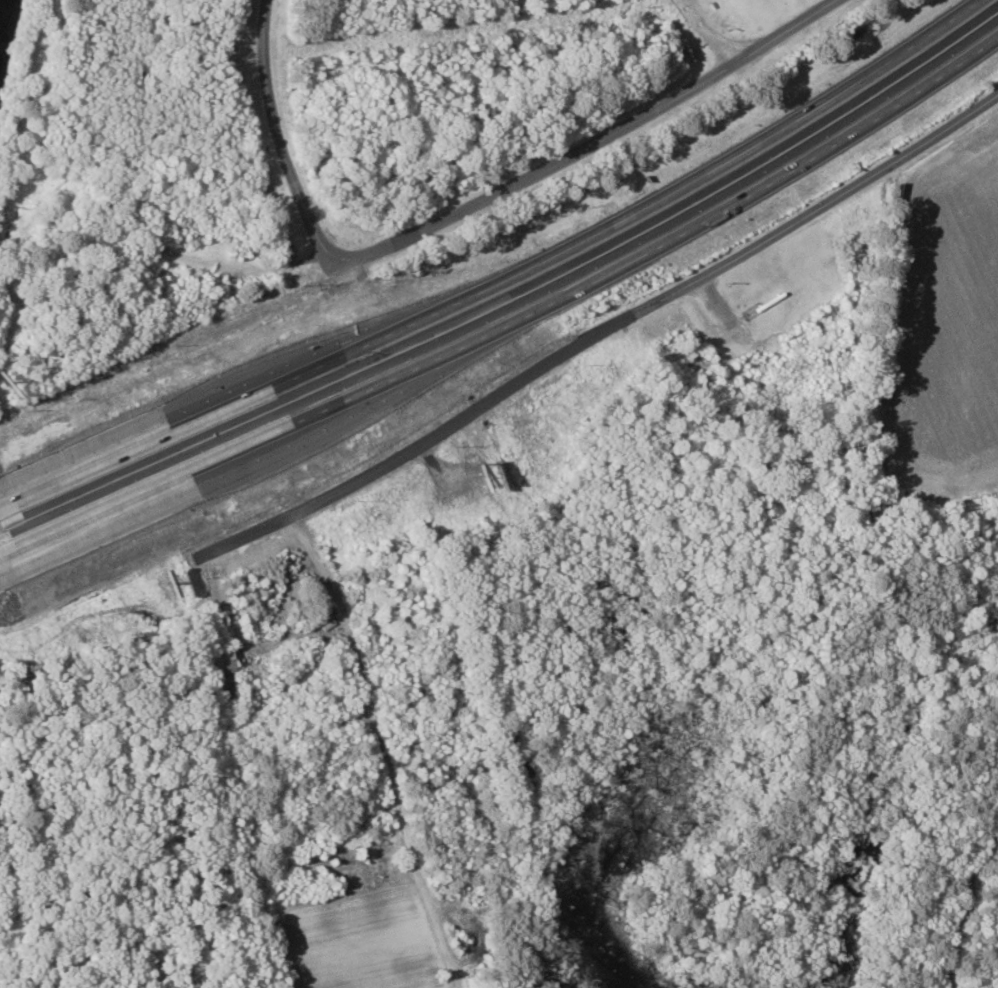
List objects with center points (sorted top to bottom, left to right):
road: (711, 33)
river: (7, 35)
road: (610, 135)
road: (290, 147)
road: (508, 285)
road: (511, 320)
road: (597, 339)

